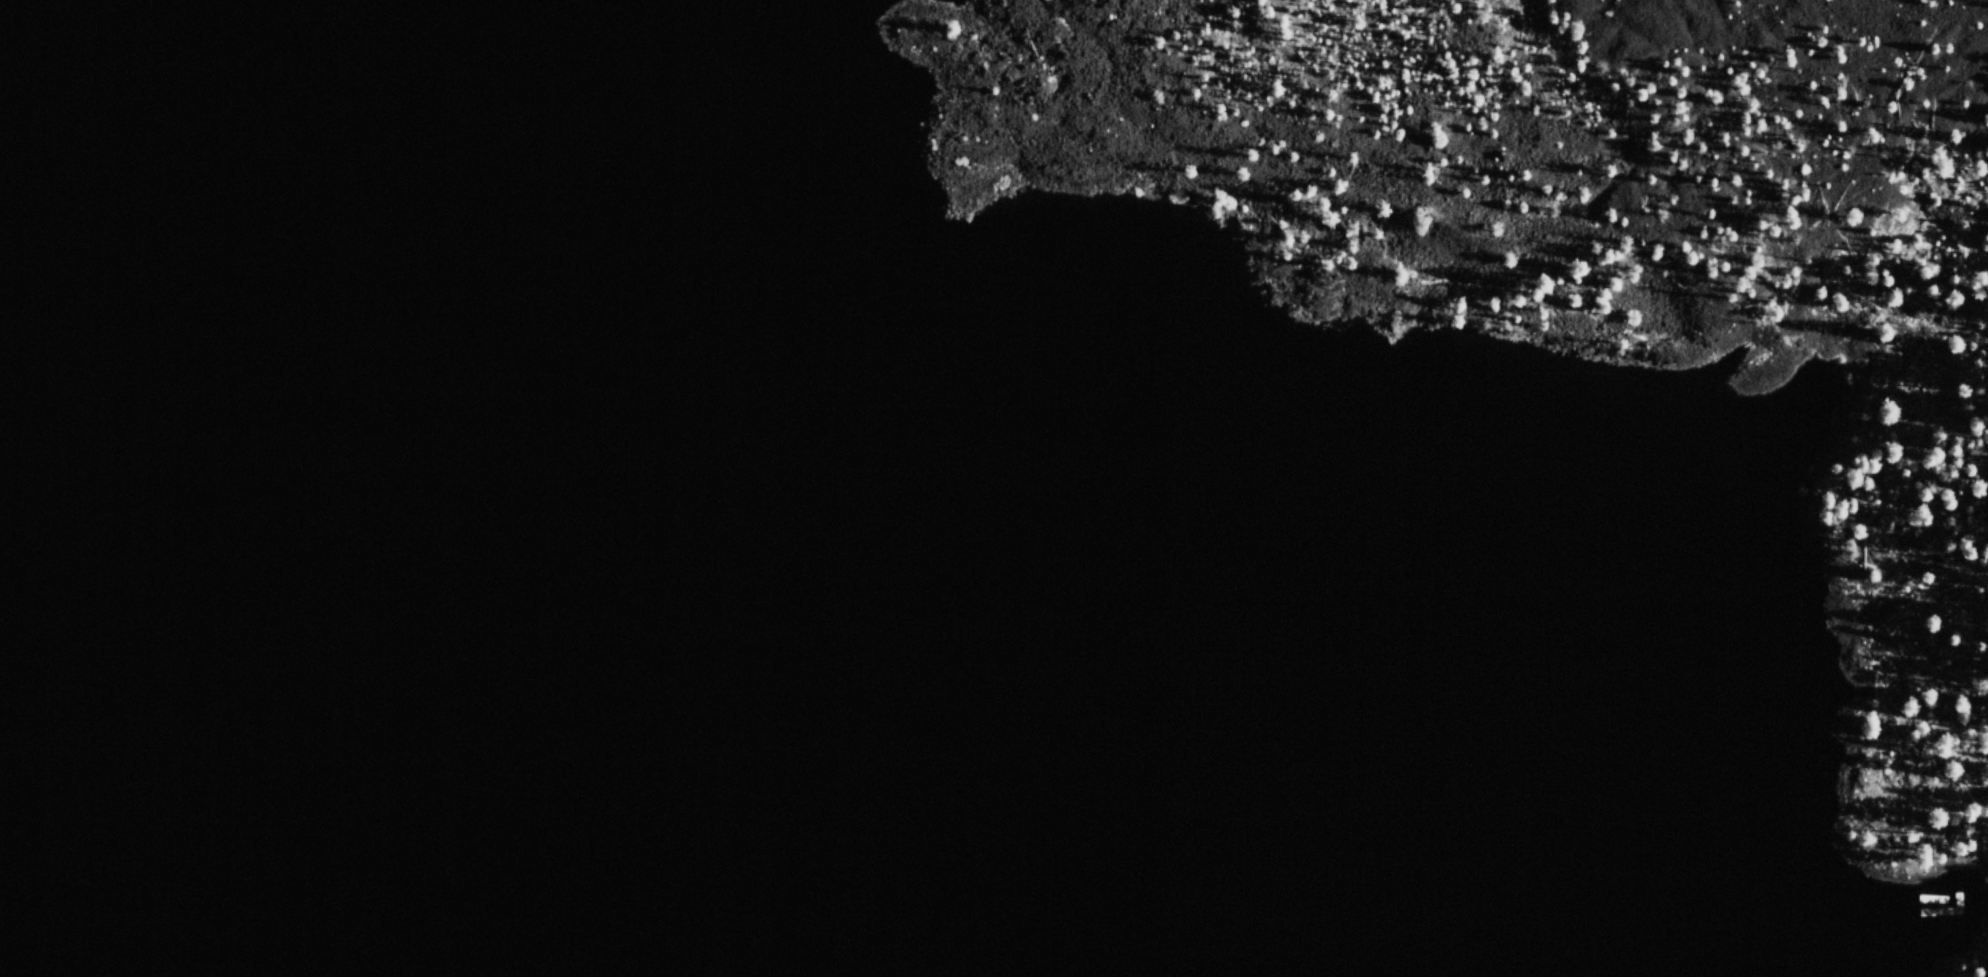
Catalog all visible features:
road: (1907, 592)
road: (1974, 967)

